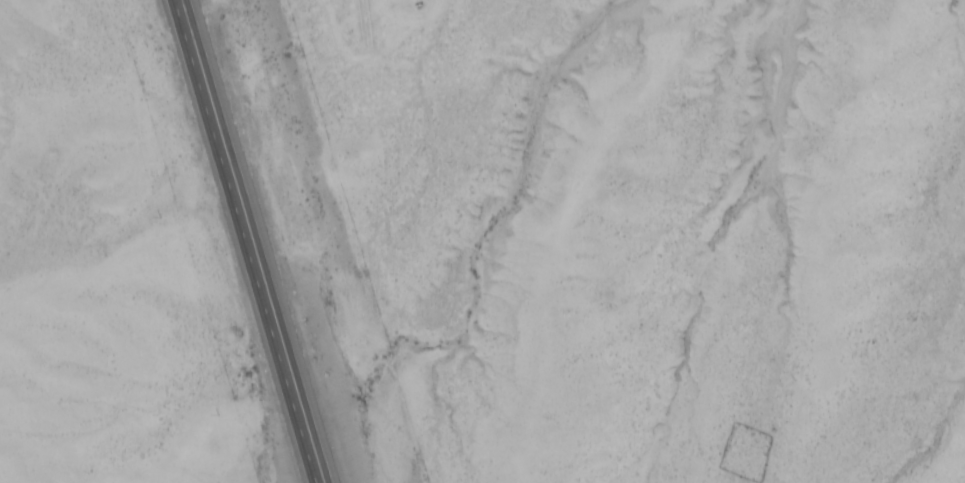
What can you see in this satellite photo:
road: (253, 241)

